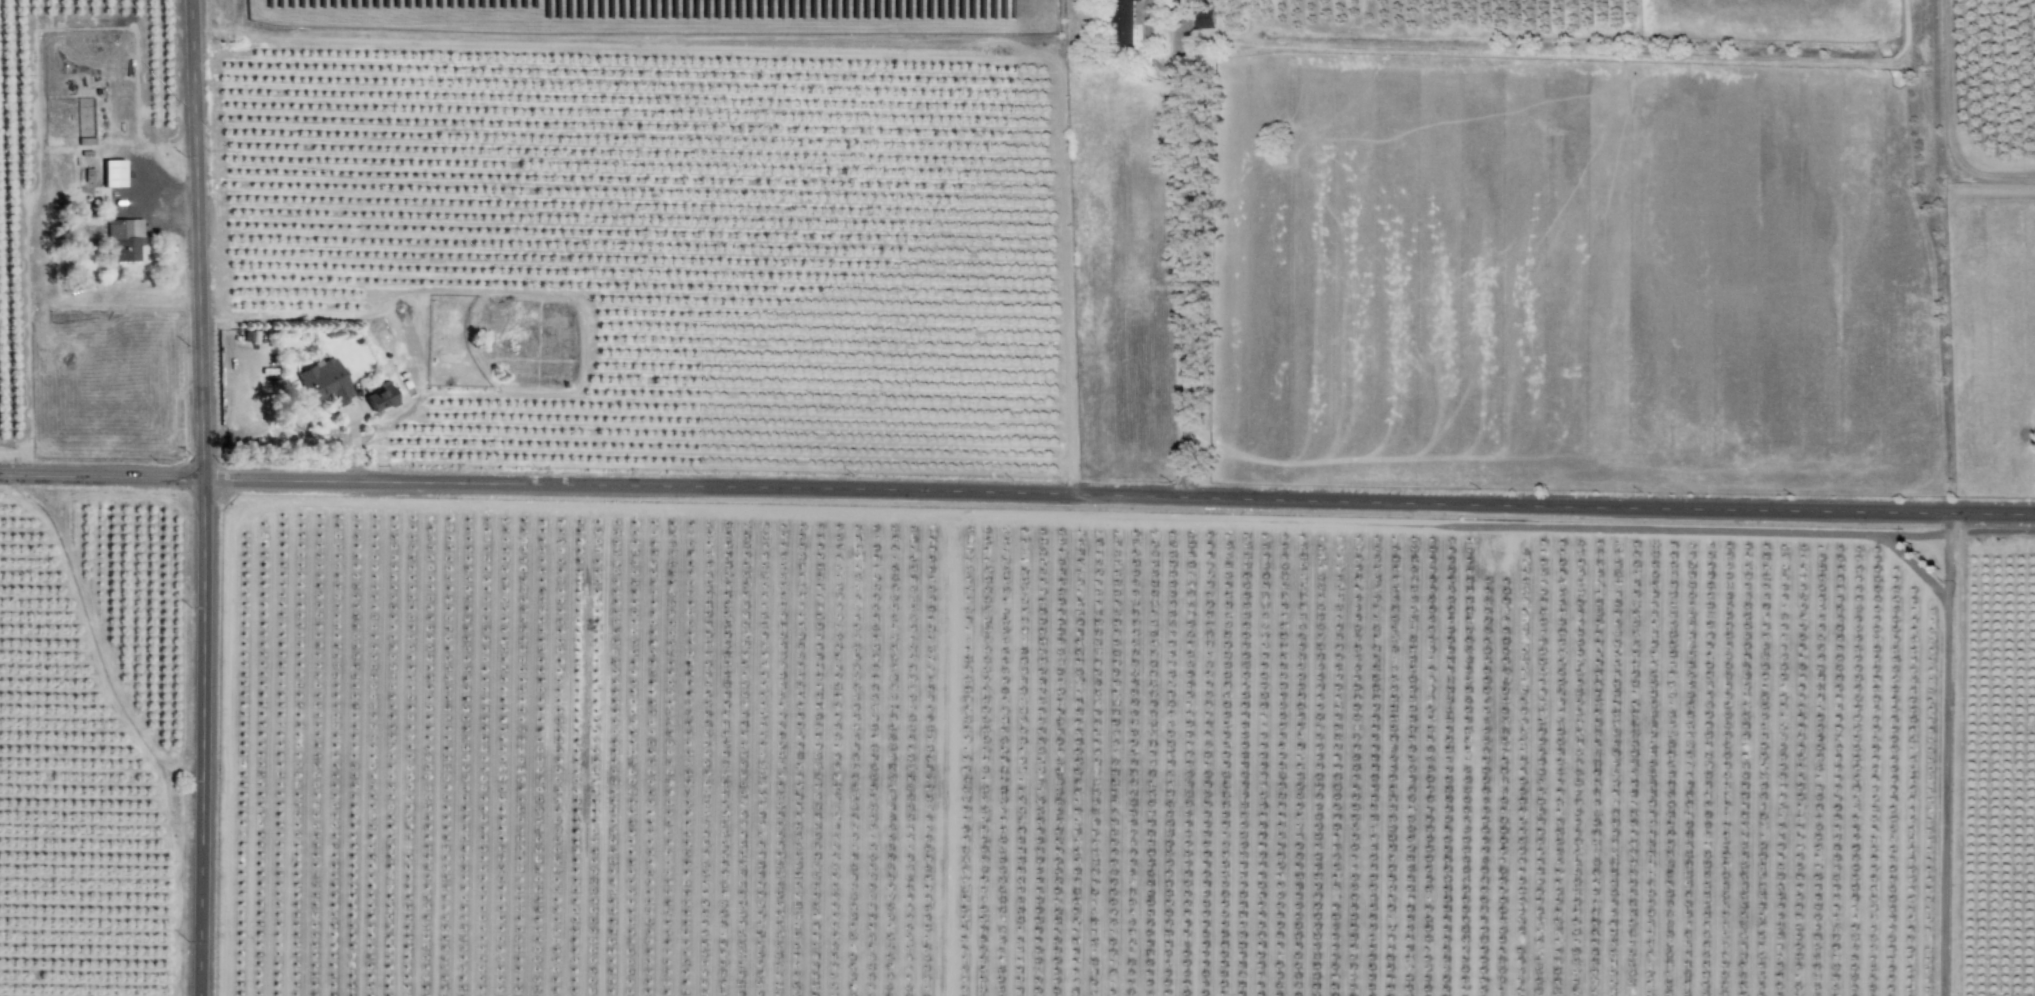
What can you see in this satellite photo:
solar farm: (668, 16)
building: (1204, 20)
building: (1122, 24)
building: (112, 174)
building: (123, 239)
road: (1179, 278)
building: (323, 382)
building: (377, 398)
road: (1017, 493)
road: (200, 497)

